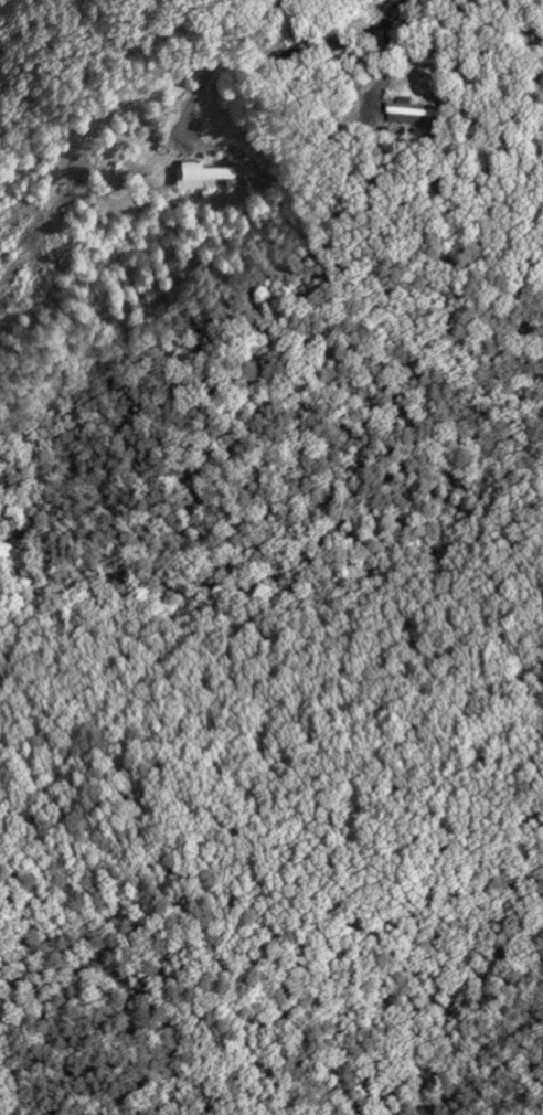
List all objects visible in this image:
building: (411, 113)
building: (199, 170)

